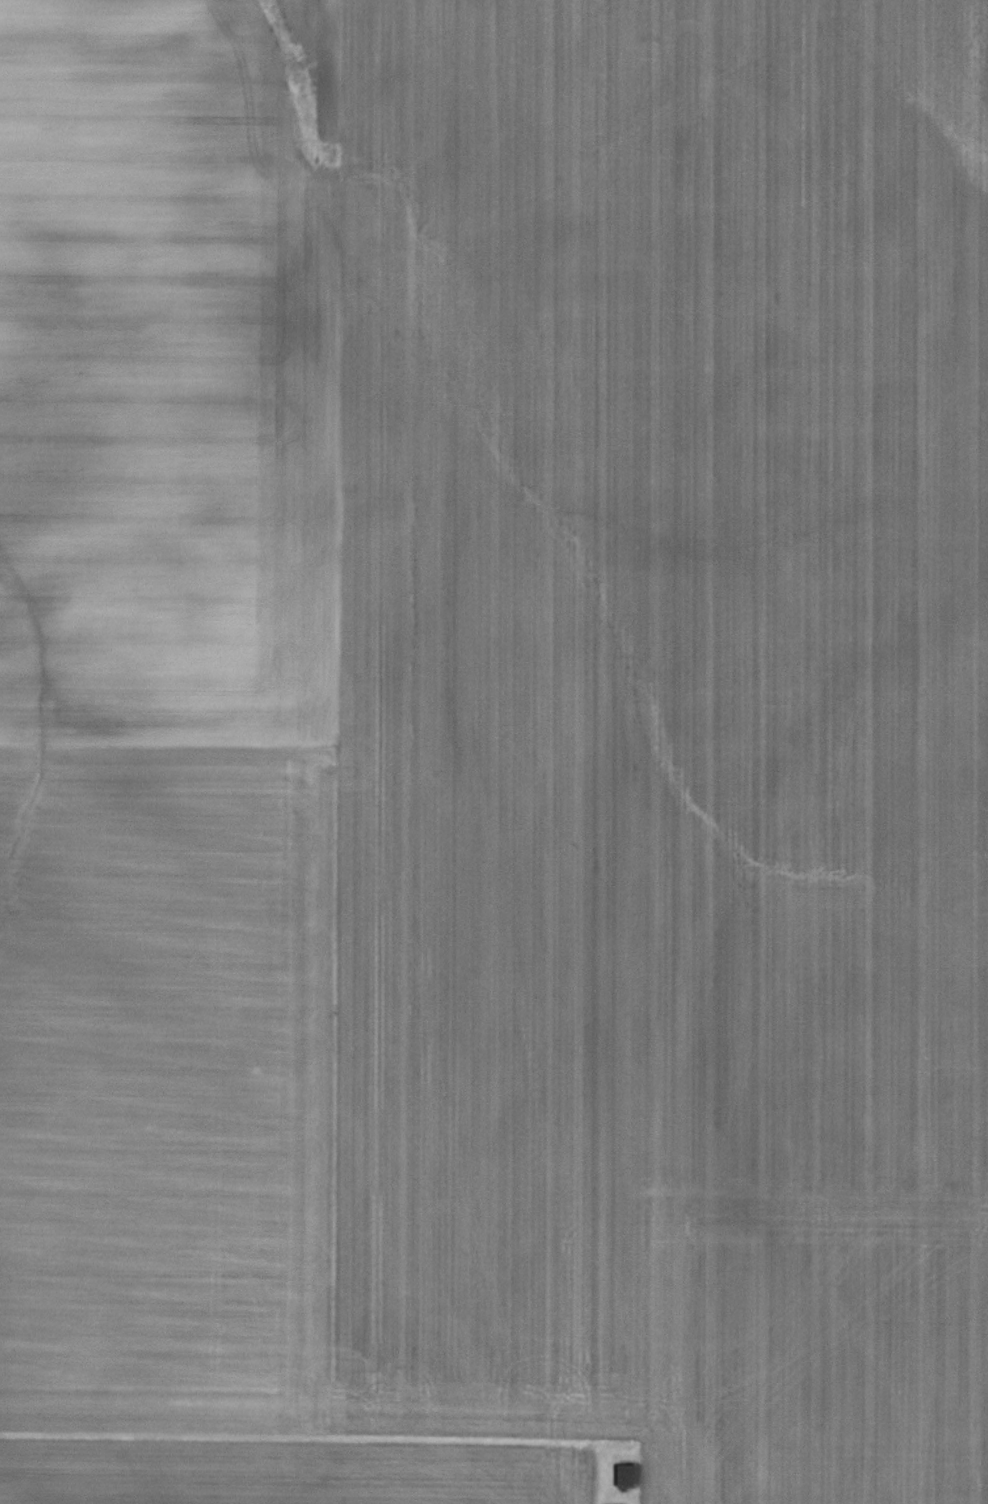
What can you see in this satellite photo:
building: (623, 1475)

